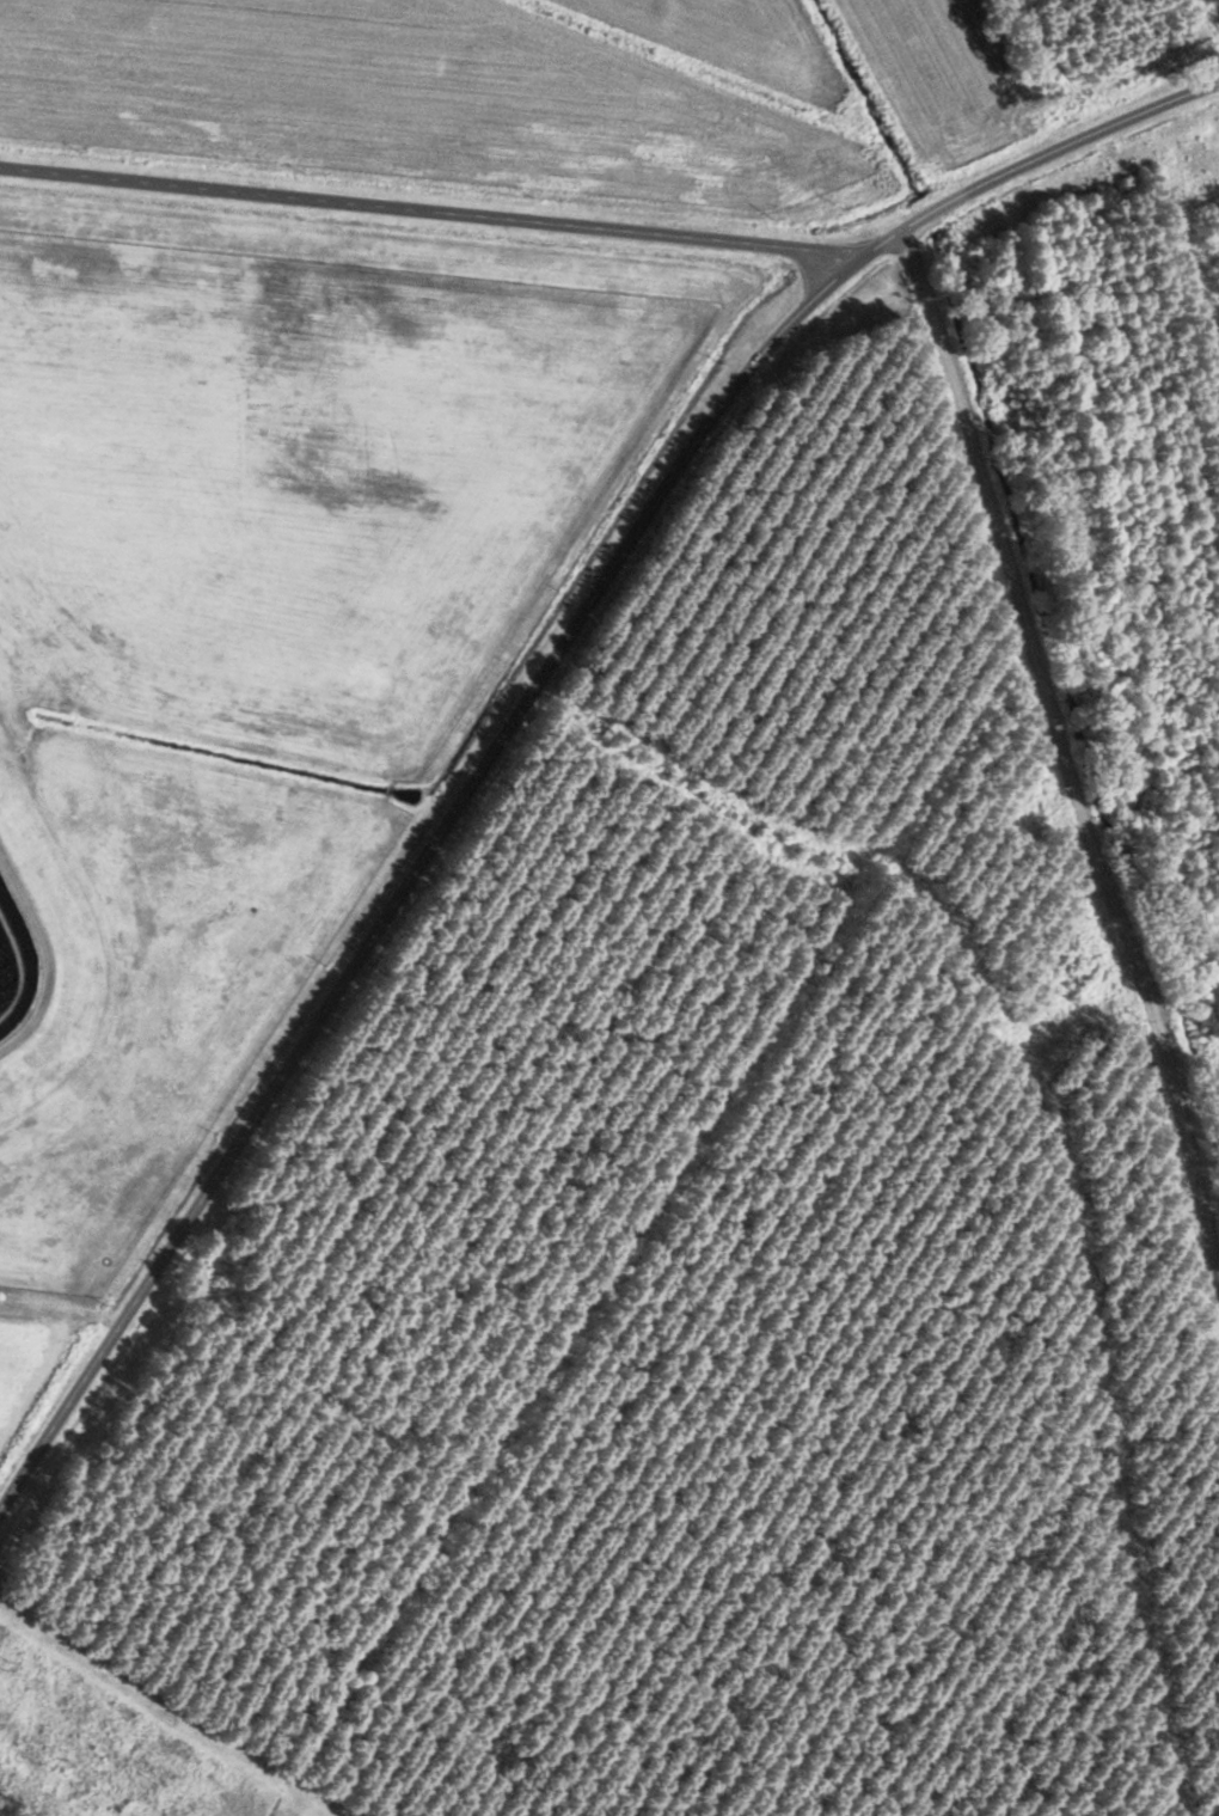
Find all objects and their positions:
road: (427, 206)
road: (523, 696)
road: (1065, 716)
power tower: (7, 1664)

